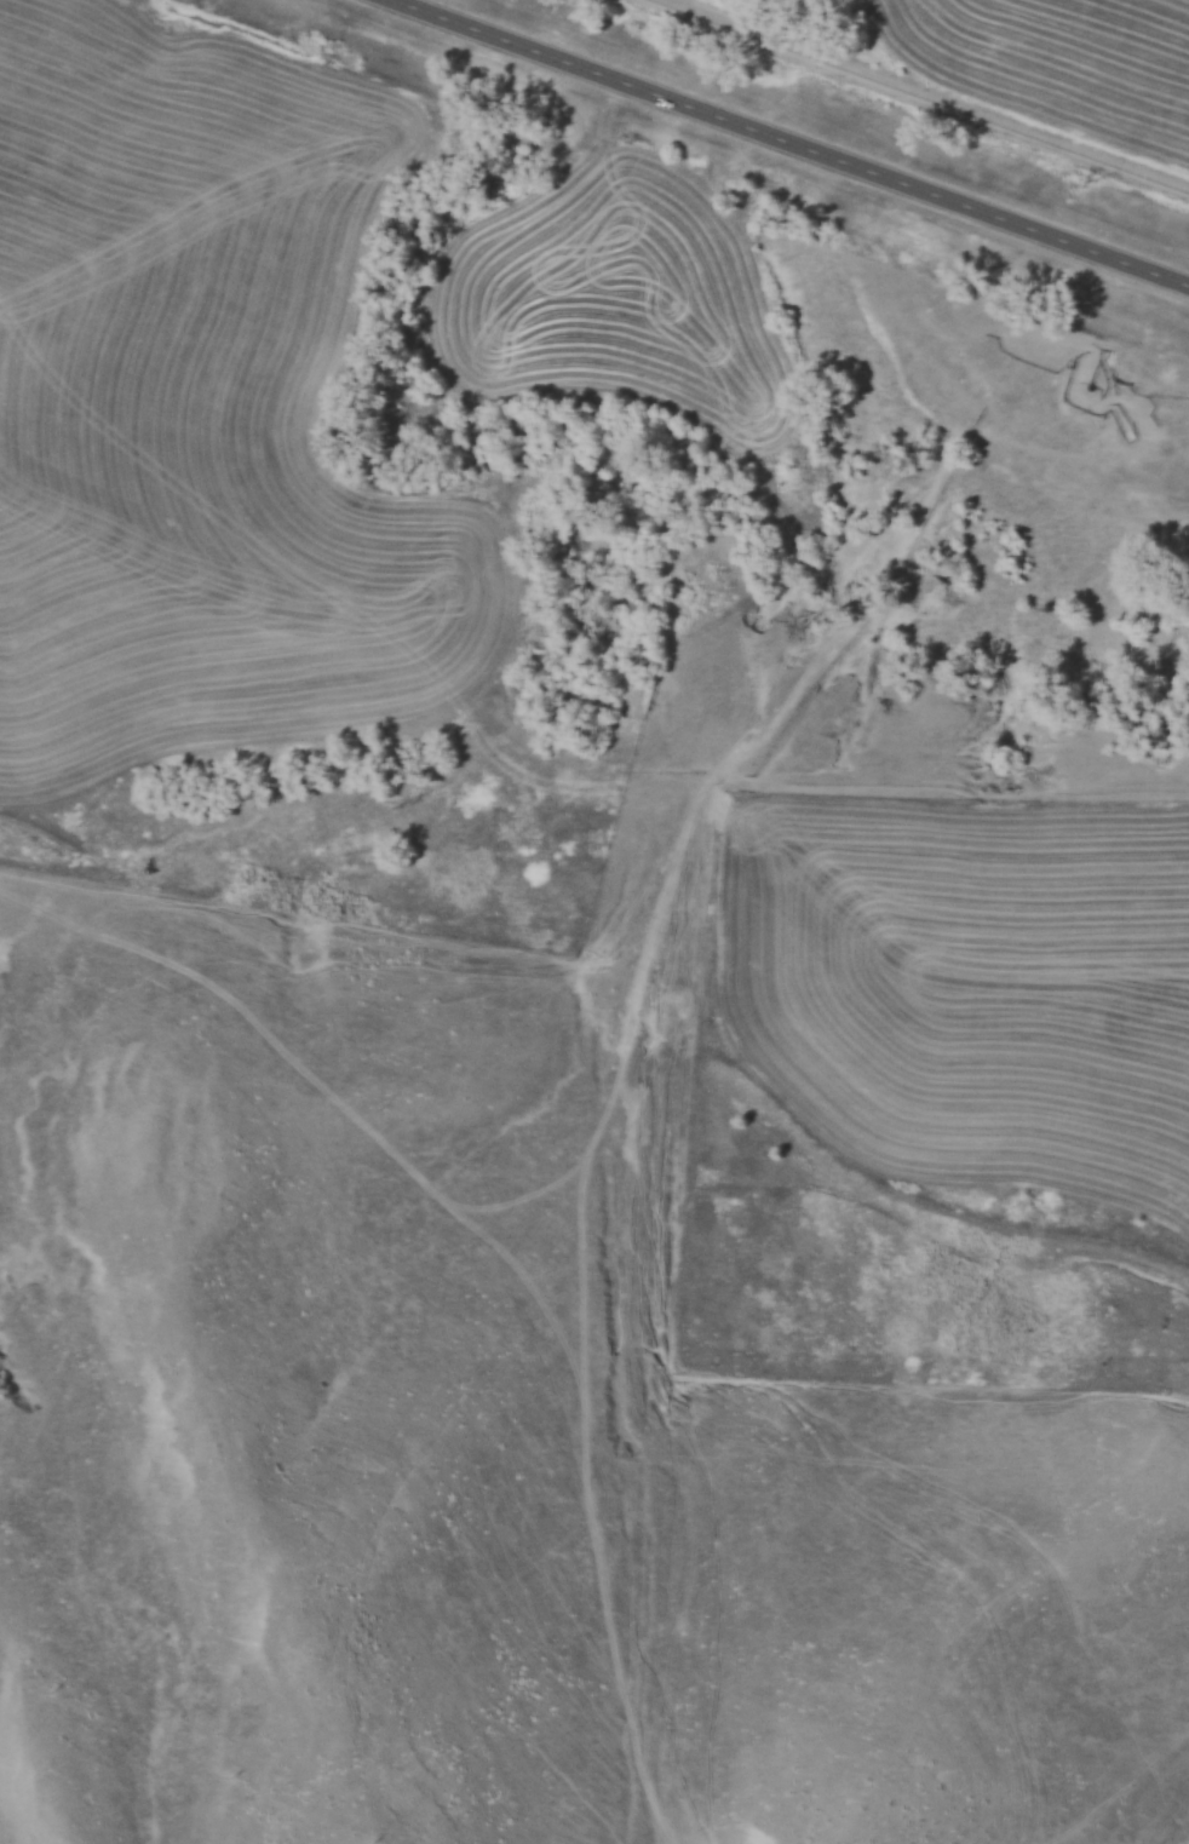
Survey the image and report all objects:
railway: (924, 94)
road: (789, 142)
crop: (206, 412)
crop: (970, 989)

